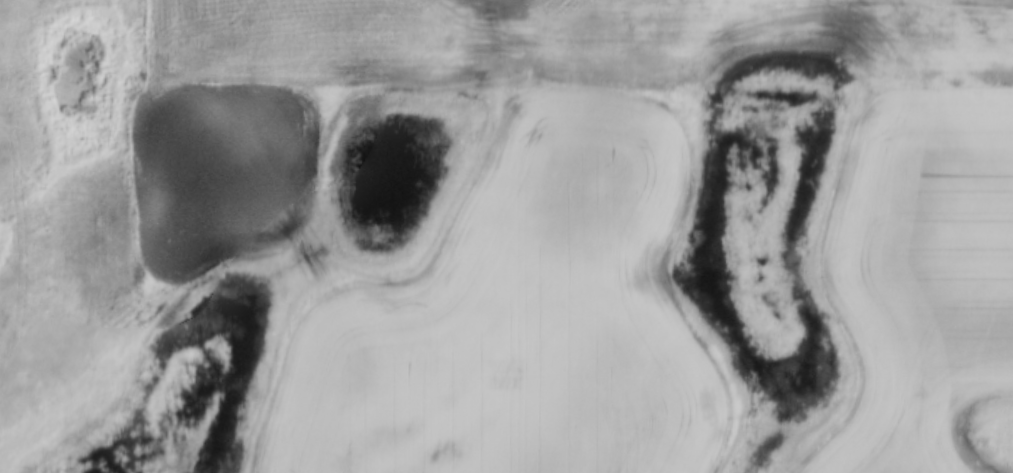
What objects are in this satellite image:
road: (110, 38)
road: (55, 76)

